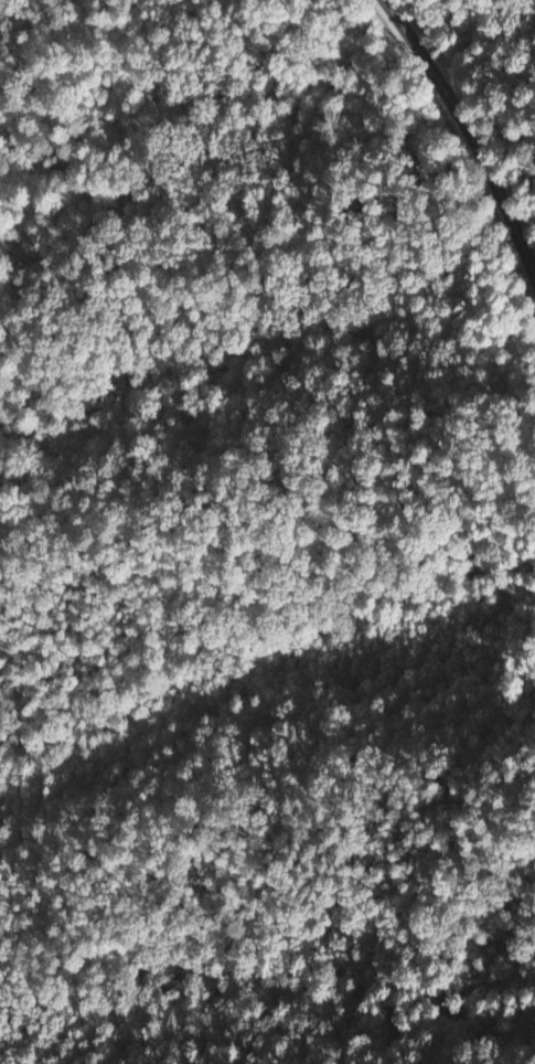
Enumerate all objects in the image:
road: (468, 135)

